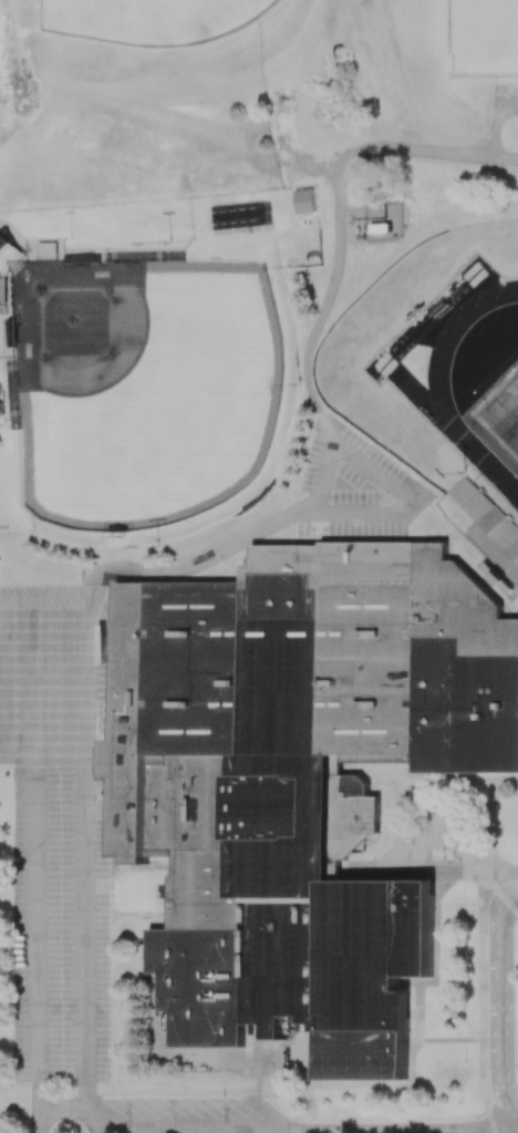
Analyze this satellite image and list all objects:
park: (149, 20)
park: (484, 38)
building: (307, 202)
road: (339, 217)
building: (9, 255)
building: (2, 295)
road: (424, 315)
road: (429, 322)
park: (149, 388)
track: (427, 400)
park: (503, 412)
parking lot: (352, 485)
road: (496, 499)
road: (496, 501)
road: (85, 591)
building: (111, 759)
building: (301, 776)
road: (436, 822)
parking lot: (58, 825)
road: (441, 851)
road: (39, 951)
road: (483, 983)
road: (493, 999)
road: (68, 1108)
road: (308, 1132)
road: (493, 1132)

